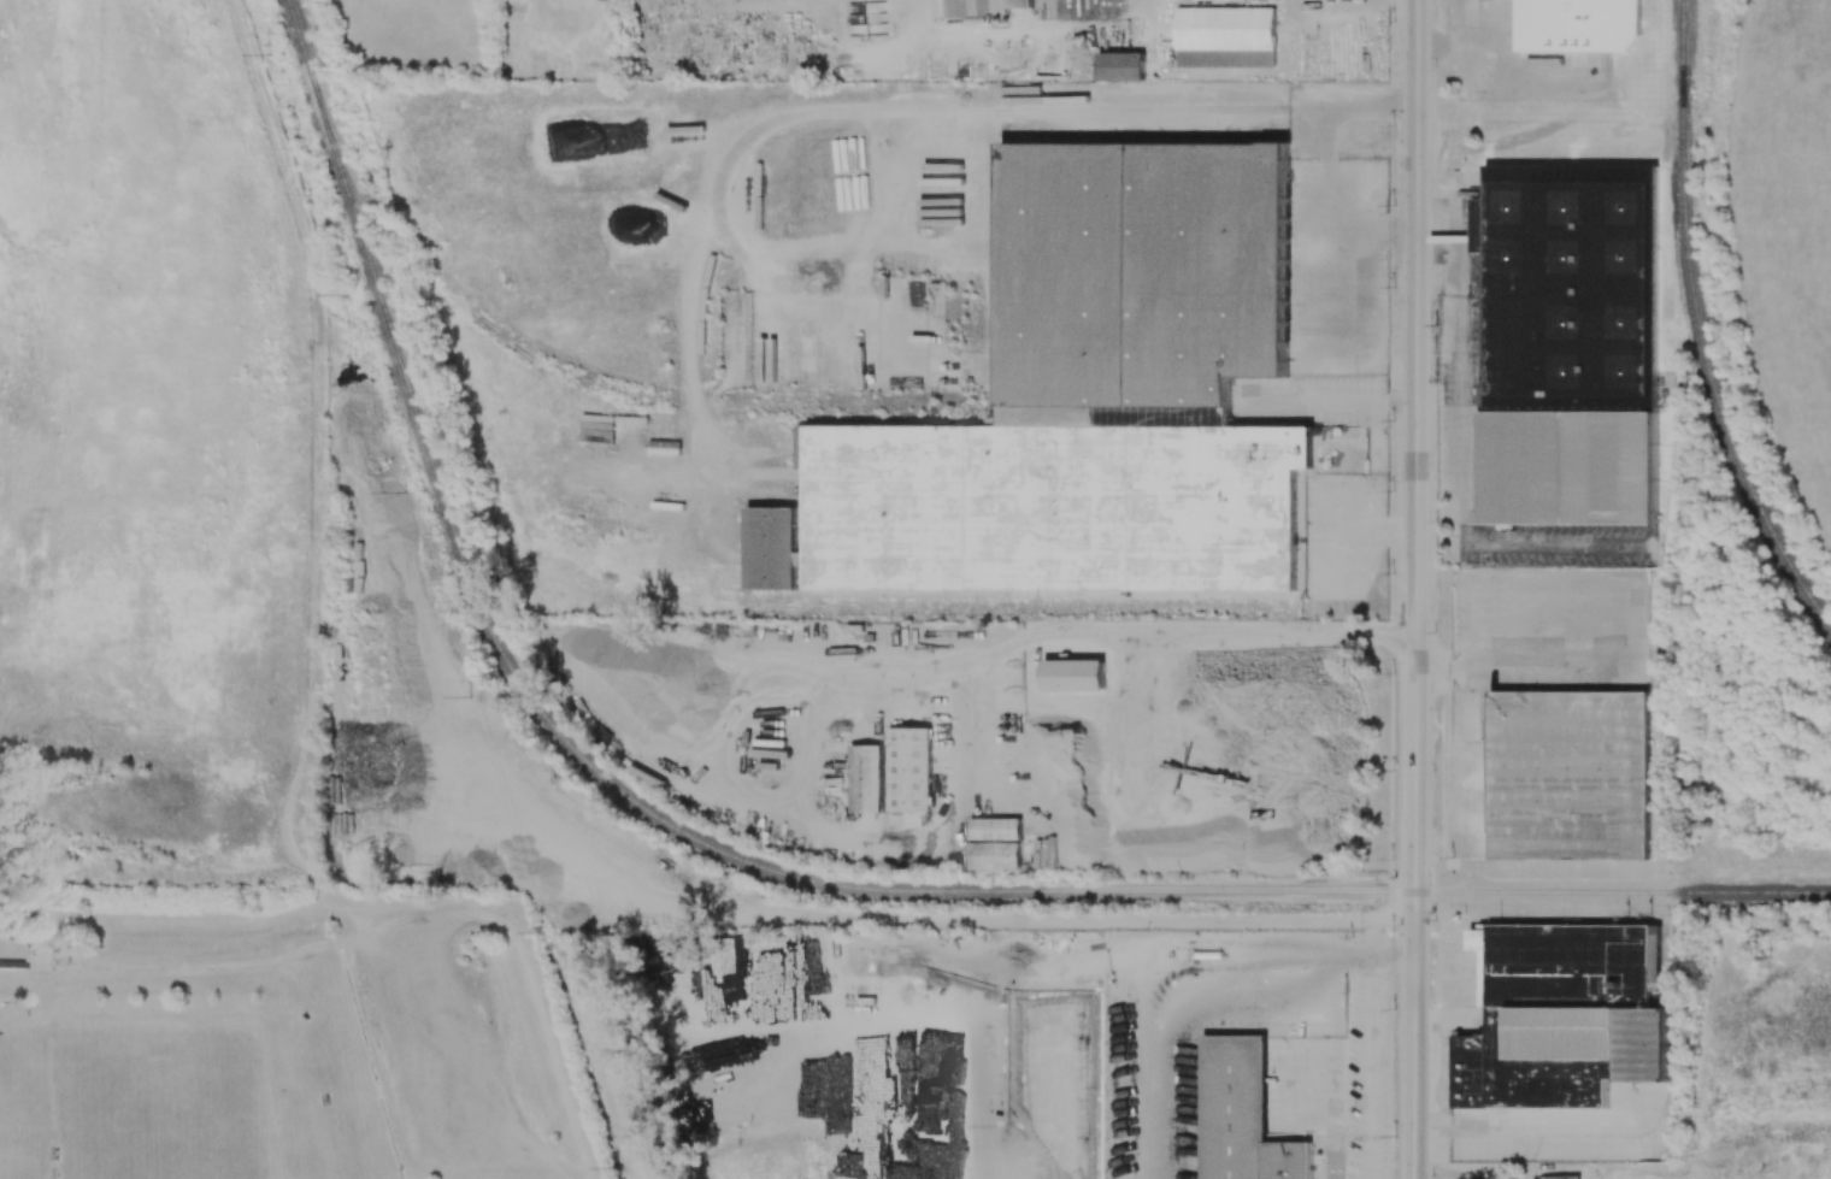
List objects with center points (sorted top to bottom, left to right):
building: (977, 7)
road: (1017, 25)
building: (1578, 25)
building: (1225, 37)
power tower: (272, 52)
building: (1120, 66)
road: (1347, 111)
railway: (346, 182)
road: (1326, 198)
road: (1402, 238)
road: (1329, 267)
power tower: (347, 293)
railway: (1698, 329)
railway: (575, 381)
railway: (623, 382)
road: (1402, 397)
building: (1087, 399)
road: (1329, 400)
power tower: (406, 491)
road: (1405, 531)
road: (1353, 534)
road: (1419, 589)
railway: (685, 597)
road: (1238, 629)
road: (1535, 661)
road: (1436, 668)
building: (1075, 674)
road: (311, 680)
power tower: (469, 697)
building: (893, 773)
building: (1568, 774)
road: (164, 813)
building: (995, 843)
railway: (970, 891)
power tower: (542, 935)
road: (1383, 947)
road: (239, 965)
road: (1008, 966)
building: (1562, 1015)
parking lot: (437, 1059)
road: (1366, 1062)
road: (449, 1087)
building: (1242, 1115)
park: (161, 1116)
park: (13, 1119)
power tower: (617, 1167)
building: (1560, 1177)

